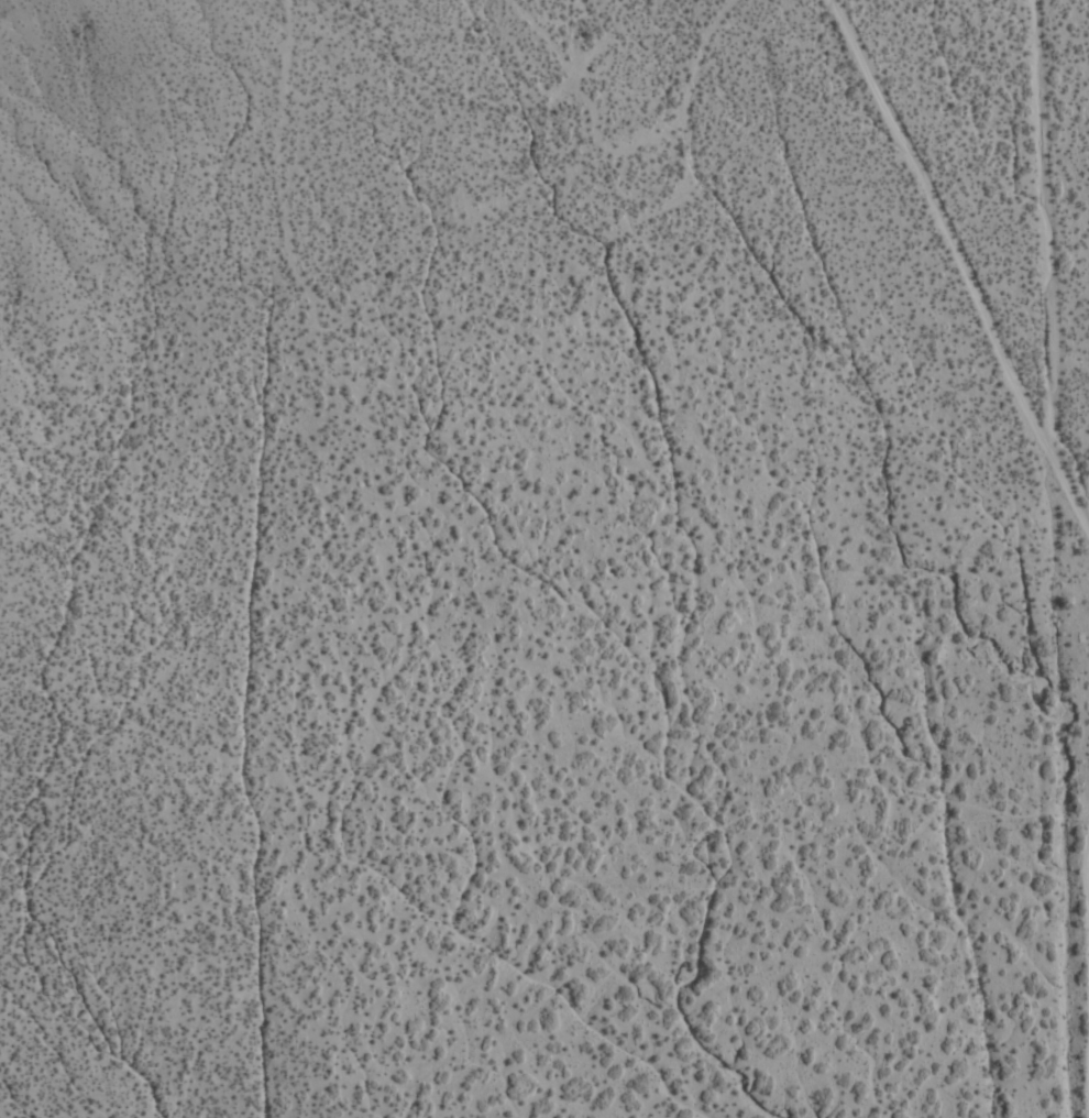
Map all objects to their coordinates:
road: (895, 169)
road: (256, 406)
road: (1047, 555)
road: (356, 867)

